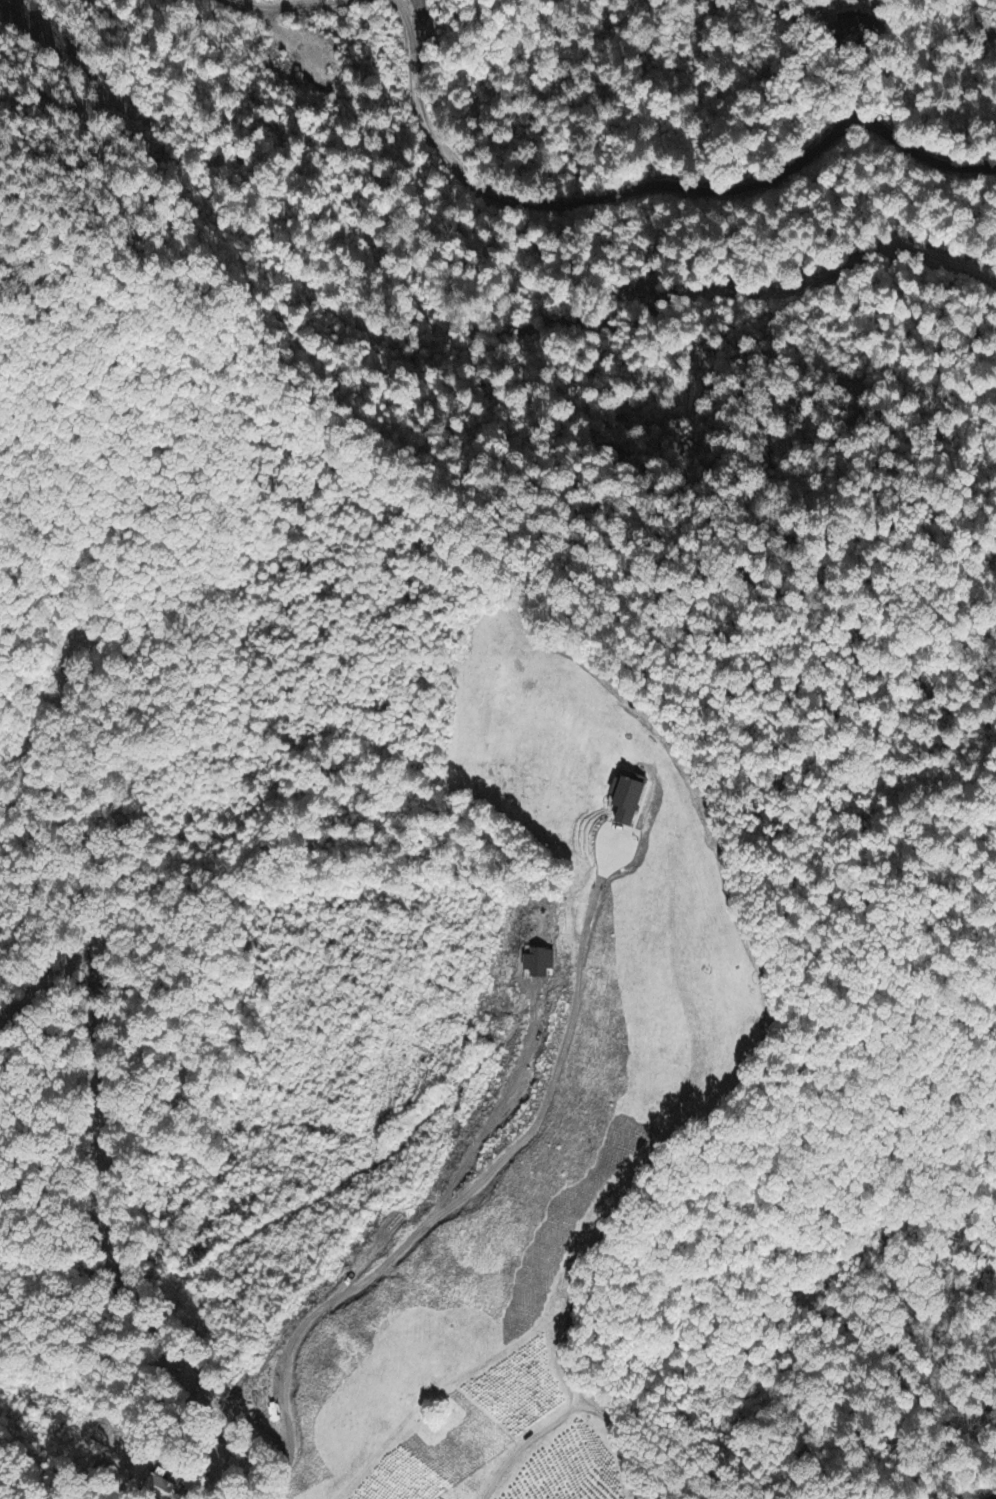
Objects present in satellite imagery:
road: (289, 4)
road: (407, 29)
building: (846, 31)
road: (644, 189)
road: (818, 280)
building: (627, 799)
road: (742, 1084)
road: (488, 1174)
road: (291, 1436)
building: (157, 1488)
road: (994, 1498)

